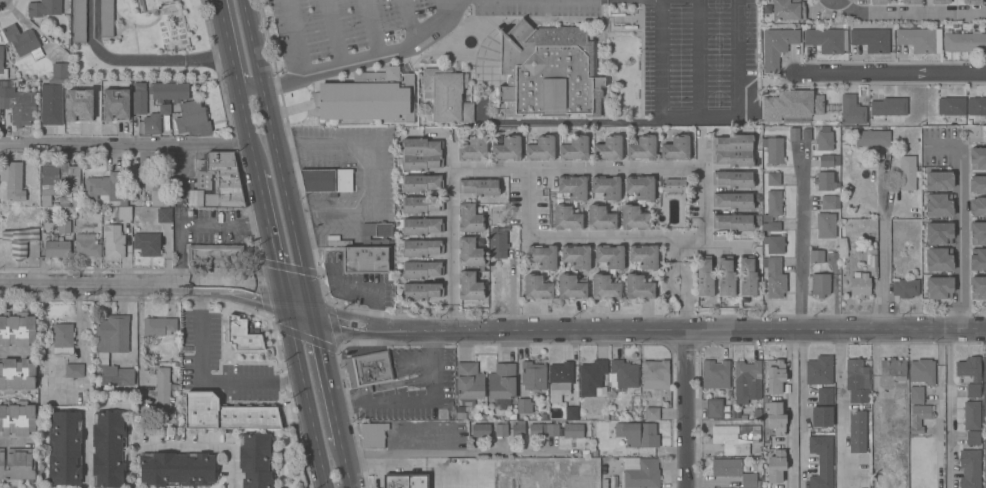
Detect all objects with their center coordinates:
building: (880, 1)
building: (940, 1)
building: (911, 2)
building: (972, 2)
building: (151, 4)
building: (46, 8)
building: (788, 10)
road: (911, 13)
building: (106, 18)
road: (409, 20)
building: (79, 21)
road: (336, 32)
road: (423, 36)
road: (297, 37)
building: (20, 39)
building: (826, 39)
building: (918, 39)
building: (872, 40)
building: (964, 42)
road: (251, 43)
building: (776, 46)
road: (239, 49)
road: (695, 57)
road: (135, 60)
road: (347, 63)
building: (2, 65)
parking lot: (700, 69)
building: (60, 71)
building: (548, 71)
road: (234, 73)
road: (658, 74)
road: (889, 74)
road: (736, 76)
building: (170, 91)
building: (446, 95)
building: (138, 97)
building: (367, 97)
building: (18, 104)
building: (115, 104)
building: (79, 105)
building: (792, 106)
building: (889, 106)
building: (951, 106)
building: (976, 106)
building: (50, 107)
building: (852, 111)
building: (193, 119)
building: (154, 120)
building: (794, 134)
building: (805, 134)
building: (872, 138)
building: (824, 140)
road: (125, 148)
building: (608, 148)
building: (676, 148)
building: (473, 149)
building: (507, 149)
building: (541, 149)
building: (574, 149)
building: (642, 149)
building: (733, 150)
building: (774, 150)
building: (421, 154)
road: (450, 155)
building: (977, 158)
road: (254, 159)
building: (828, 160)
road: (576, 167)
road: (181, 168)
road: (369, 171)
building: (907, 173)
building: (58, 178)
building: (773, 178)
building: (733, 179)
building: (13, 180)
building: (939, 180)
building: (327, 181)
building: (825, 181)
building: (217, 182)
building: (421, 183)
building: (977, 184)
building: (673, 185)
building: (114, 186)
building: (479, 187)
building: (573, 187)
building: (607, 187)
building: (640, 187)
building: (155, 191)
road: (283, 192)
building: (733, 201)
building: (64, 202)
building: (828, 202)
building: (76, 203)
building: (146, 203)
building: (772, 203)
building: (421, 204)
building: (939, 205)
building: (977, 207)
building: (124, 213)
building: (164, 214)
building: (469, 218)
building: (566, 218)
building: (600, 218)
building: (634, 218)
building: (736, 222)
road: (192, 224)
road: (960, 224)
building: (826, 225)
building: (64, 226)
building: (421, 226)
building: (771, 226)
road: (269, 232)
building: (939, 233)
building: (978, 233)
building: (33, 234)
building: (376, 234)
road: (450, 235)
road: (618, 240)
building: (16, 242)
building: (113, 242)
road: (799, 242)
building: (147, 243)
road: (721, 243)
building: (498, 244)
building: (774, 244)
building: (87, 245)
building: (872, 245)
building: (421, 248)
building: (57, 249)
road: (673, 250)
building: (469, 252)
building: (873, 252)
building: (215, 254)
building: (542, 256)
building: (577, 256)
building: (610, 256)
building: (644, 256)
building: (816, 256)
building: (978, 259)
building: (365, 260)
building: (939, 260)
building: (873, 261)
building: (421, 269)
building: (725, 276)
building: (747, 276)
building: (704, 277)
road: (886, 277)
building: (775, 278)
building: (860, 284)
building: (820, 285)
building: (469, 286)
road: (153, 287)
building: (537, 287)
building: (571, 287)
building: (604, 287)
building: (638, 287)
building: (939, 287)
building: (978, 287)
building: (905, 288)
building: (421, 291)
road: (678, 295)
road: (286, 307)
road: (310, 310)
road: (451, 314)
road: (131, 325)
building: (159, 326)
building: (17, 330)
road: (637, 330)
building: (242, 335)
building: (63, 338)
building: (113, 349)
building: (892, 367)
building: (74, 370)
building: (368, 370)
building: (819, 370)
building: (968, 370)
building: (921, 372)
building: (624, 374)
building: (655, 374)
building: (715, 374)
building: (16, 375)
building: (533, 376)
building: (775, 376)
building: (591, 378)
building: (748, 379)
road: (202, 381)
building: (469, 381)
building: (501, 381)
building: (559, 381)
building: (858, 381)
road: (326, 383)
building: (42, 385)
building: (984, 386)
building: (162, 389)
building: (972, 390)
road: (414, 394)
building: (916, 395)
building: (899, 403)
road: (307, 404)
building: (524, 406)
building: (714, 408)
building: (823, 408)
road: (792, 409)
road: (801, 409)
road: (839, 409)
road: (686, 410)
road: (949, 410)
building: (571, 413)
building: (652, 413)
building: (226, 414)
building: (971, 415)
building: (919, 417)
building: (16, 418)
building: (775, 418)
building: (501, 429)
building: (518, 429)
building: (552, 429)
building: (481, 430)
building: (535, 430)
building: (573, 431)
building: (857, 432)
building: (638, 434)
building: (373, 435)
building: (736, 438)
building: (973, 438)
road: (12, 440)
road: (203, 443)
building: (64, 447)
building: (108, 450)
road: (440, 452)
building: (256, 461)
building: (821, 461)
building: (985, 463)
building: (16, 464)
road: (344, 465)
building: (776, 466)
building: (970, 468)
building: (177, 469)
building: (733, 471)
building: (641, 473)
building: (396, 481)

